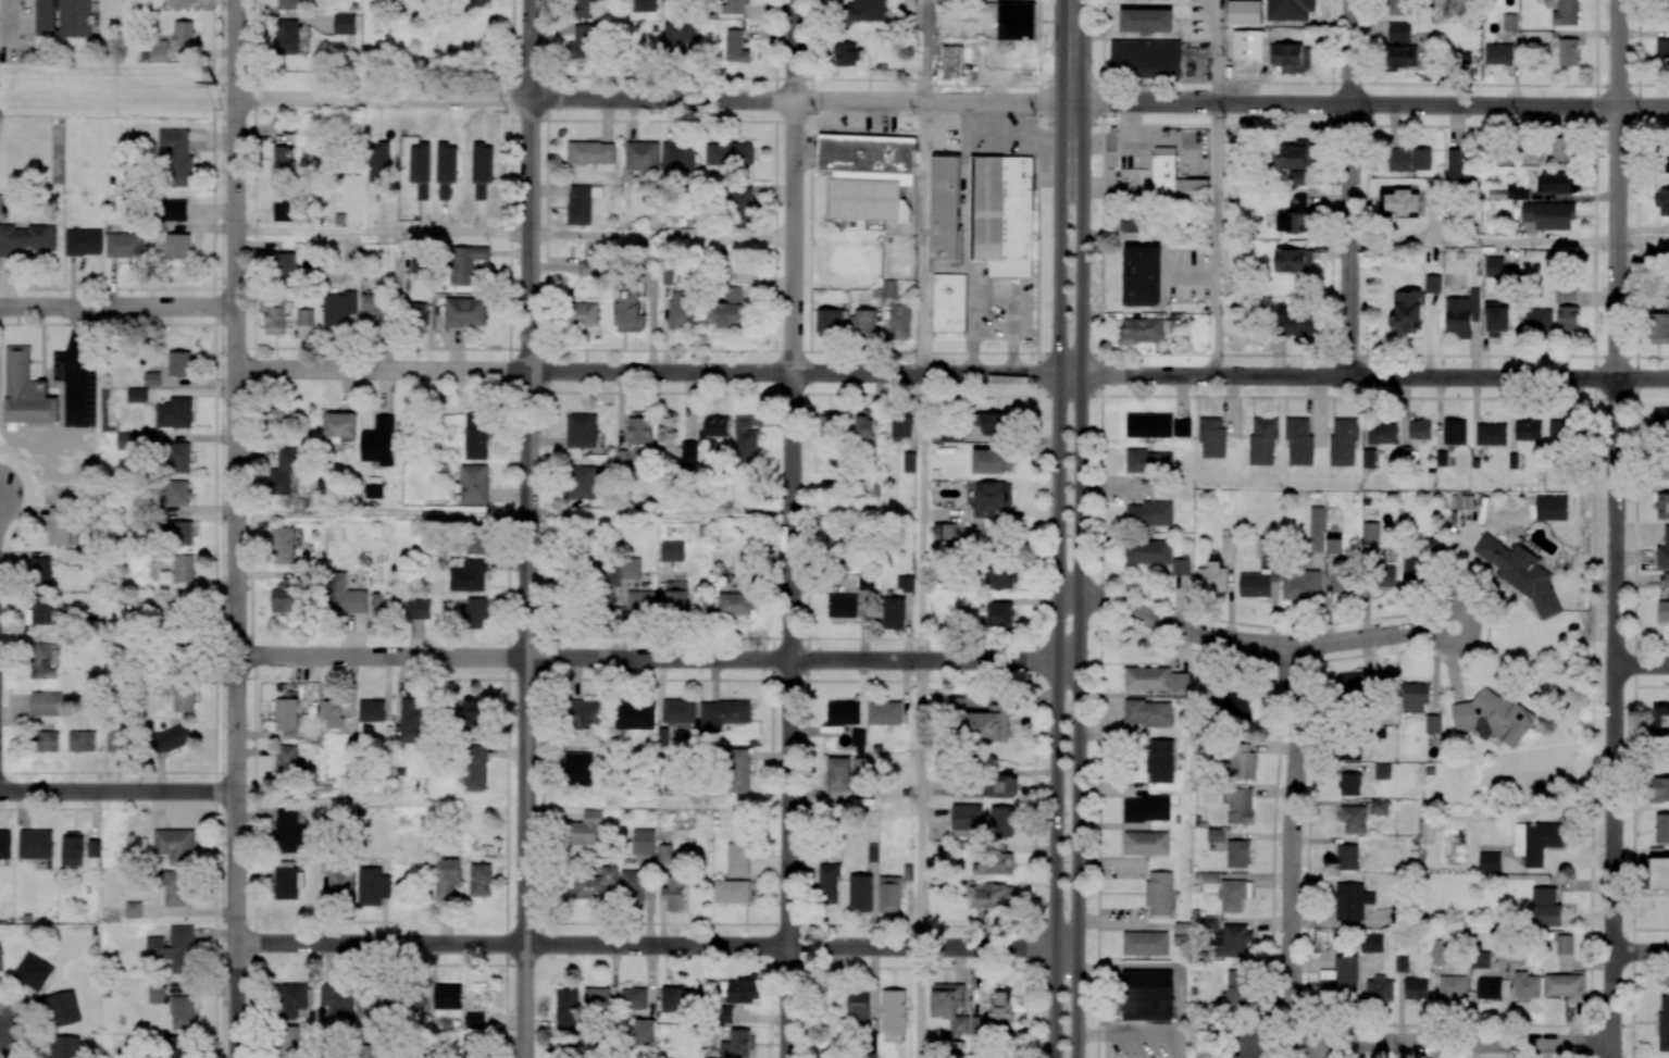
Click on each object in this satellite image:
building: (478, 2)
building: (289, 4)
building: (1666, 4)
building: (644, 5)
building: (735, 7)
building: (1399, 7)
building: (585, 9)
building: (865, 11)
building: (1244, 12)
building: (1566, 13)
building: (46, 16)
building: (76, 17)
building: (1146, 20)
building: (1510, 22)
building: (344, 23)
road: (10, 32)
building: (1399, 32)
building: (183, 33)
building: (680, 34)
building: (287, 36)
building: (583, 41)
building: (1248, 45)
building: (735, 46)
building: (998, 47)
building: (159, 50)
road: (1073, 51)
road: (1218, 51)
building: (1661, 51)
building: (1568, 52)
building: (846, 53)
building: (1498, 54)
building: (1400, 57)
building: (1145, 58)
building: (1293, 59)
power tower: (214, 83)
road: (1354, 83)
road: (653, 99)
road: (1370, 104)
road: (1354, 125)
building: (1561, 149)
building: (730, 153)
building: (593, 154)
building: (678, 154)
building: (177, 155)
building: (642, 155)
building: (1296, 155)
building: (287, 158)
building: (1409, 159)
building: (1665, 161)
building: (421, 167)
building: (1460, 167)
building: (483, 169)
building: (447, 170)
building: (869, 174)
road: (1332, 176)
building: (1174, 177)
building: (1297, 177)
building: (1557, 183)
road: (795, 186)
road: (1352, 187)
road: (1619, 188)
building: (1507, 194)
building: (1662, 200)
building: (1297, 201)
building: (1403, 202)
building: (1, 204)
building: (580, 204)
building: (740, 207)
building: (284, 208)
building: (945, 208)
building: (174, 210)
building: (1548, 214)
building: (1000, 222)
building: (1290, 222)
building: (1132, 223)
road: (515, 234)
building: (24, 238)
road: (1217, 239)
road: (1366, 239)
building: (84, 241)
road: (1484, 241)
road: (1643, 244)
building: (124, 245)
building: (177, 246)
building: (1294, 260)
building: (465, 263)
building: (285, 265)
building: (419, 265)
building: (1494, 266)
building: (588, 269)
building: (1143, 275)
building: (1432, 283)
building: (949, 302)
road: (117, 308)
building: (339, 308)
building: (372, 308)
building: (728, 308)
building: (628, 310)
building: (681, 310)
building: (465, 312)
building: (897, 312)
building: (1407, 312)
building: (584, 313)
building: (1462, 313)
building: (416, 314)
building: (274, 315)
building: (304, 316)
building: (1497, 319)
building: (1567, 319)
building: (1536, 320)
building: (829, 321)
building: (864, 322)
building: (1295, 323)
building: (1659, 327)
building: (1142, 331)
road: (1353, 353)
building: (178, 363)
road: (78, 365)
road: (659, 371)
road: (1349, 376)
road: (1643, 378)
building: (26, 390)
road: (1353, 397)
building: (174, 412)
building: (1660, 419)
building: (339, 424)
building: (715, 425)
building: (993, 425)
building: (1148, 425)
building: (1181, 425)
building: (901, 426)
building: (642, 427)
building: (830, 427)
building: (1420, 428)
building: (581, 430)
building: (865, 430)
building: (1528, 430)
building: (1382, 432)
building: (1455, 432)
building: (1559, 433)
building: (1491, 434)
building: (950, 435)
building: (476, 436)
building: (1212, 437)
building: (134, 440)
building: (746, 440)
building: (1262, 440)
building: (1344, 440)
building: (378, 441)
building: (1299, 441)
building: (689, 448)
building: (178, 457)
building: (1370, 458)
building: (993, 460)
building: (1148, 461)
building: (1662, 469)
building: (283, 471)
building: (581, 482)
building: (473, 484)
building: (373, 487)
building: (178, 493)
building: (994, 498)
building: (1661, 505)
building: (1149, 513)
road: (383, 514)
road: (661, 516)
building: (60, 526)
road: (236, 528)
road: (528, 528)
road: (923, 528)
road: (1035, 528)
road: (1100, 528)
building: (1317, 528)
road: (1592, 528)
road: (1635, 528)
building: (1371, 531)
building: (178, 533)
building: (943, 536)
building: (476, 539)
building: (1333, 542)
building: (283, 545)
building: (1432, 545)
building: (1664, 549)
building: (672, 550)
building: (1147, 551)
building: (1566, 561)
building: (1181, 565)
building: (183, 568)
building: (631, 568)
building: (1411, 569)
building: (40, 571)
building: (1520, 573)
building: (1383, 575)
building: (469, 576)
building: (613, 576)
building: (1004, 577)
building: (1211, 577)
road: (1059, 580)
road: (1081, 580)
building: (1666, 580)
building: (865, 582)
building: (1345, 582)
building: (905, 583)
building: (1254, 584)
building: (1300, 585)
building: (346, 595)
building: (676, 596)
building: (283, 597)
building: (642, 602)
building: (734, 603)
building: (842, 606)
building: (419, 608)
building: (1662, 610)
building: (475, 611)
building: (893, 612)
building: (42, 613)
building: (1000, 614)
road: (1172, 625)
road: (1487, 626)
road: (1372, 636)
road: (1652, 643)
road: (658, 658)
building: (40, 661)
road: (1642, 665)
building: (1146, 679)
building: (1362, 682)
building: (1180, 684)
road: (1652, 686)
building: (183, 697)
building: (1415, 697)
building: (46, 704)
building: (956, 704)
building: (1234, 704)
building: (477, 706)
building: (371, 710)
building: (678, 710)
building: (844, 712)
building: (884, 712)
building: (1147, 712)
building: (332, 713)
building: (586, 713)
building: (723, 713)
building: (635, 714)
road: (790, 714)
building: (287, 717)
building: (1493, 717)
road: (1614, 718)
building: (411, 720)
building: (1661, 720)
building: (1432, 723)
building: (987, 724)
building: (858, 737)
building: (171, 738)
building: (45, 740)
building: (82, 740)
building: (119, 742)
building: (1350, 752)
building: (1159, 760)
building: (1243, 762)
building: (288, 763)
building: (862, 767)
building: (474, 768)
road: (1549, 768)
building: (578, 769)
building: (738, 770)
building: (1382, 771)
building: (837, 773)
building: (1350, 784)
building: (1004, 787)
building: (1659, 789)
road: (117, 791)
building: (1240, 805)
building: (1379, 806)
building: (1147, 808)
building: (967, 817)
building: (1353, 819)
building: (1002, 821)
building: (1661, 827)
building: (585, 829)
building: (1428, 829)
building: (288, 831)
building: (1216, 835)
building: (1536, 841)
building: (644, 842)
building: (1145, 843)
building: (5, 844)
building: (36, 844)
building: (175, 845)
building: (94, 847)
building: (72, 848)
building: (664, 852)
building: (1237, 854)
road: (1292, 854)
building: (1347, 857)
building: (737, 859)
road: (1307, 860)
building: (1490, 862)
building: (995, 863)
road: (1271, 863)
building: (1659, 873)
building: (448, 876)
building: (481, 880)
building: (286, 883)
building: (340, 883)
building: (829, 884)
building: (597, 885)
building: (372, 886)
building: (633, 887)
building: (175, 888)
building: (732, 892)
building: (860, 892)
building: (1159, 892)
building: (889, 894)
building: (992, 895)
building: (1232, 895)
building: (1352, 900)
building: (1545, 907)
building: (134, 909)
building: (1211, 922)
road: (1651, 929)
building: (1236, 941)
building: (1372, 942)
building: (1145, 943)
building: (1565, 944)
road: (657, 945)
building: (174, 948)
building: (1440, 951)
road: (1641, 951)
building: (0, 958)
building: (1480, 959)
road: (1163, 967)
building: (33, 971)
road: (1651, 971)
building: (1340, 978)
building: (1525, 984)
building: (1565, 985)
building: (1452, 987)
building: (1489, 987)
building: (1379, 988)
building: (1416, 988)
building: (1240, 989)
building: (742, 991)
building: (155, 994)
building: (1145, 995)
building: (291, 998)
building: (597, 998)
building: (633, 998)
building: (677, 999)
building: (448, 1000)
building: (338, 1003)
building: (859, 1005)
building: (949, 1005)
building: (1001, 1007)
building: (63, 1008)
building: (370, 1008)
building: (566, 1009)
building: (893, 1011)
building: (182, 1012)
building: (725, 1013)
building: (474, 1020)
building: (1664, 1022)
road: (1474, 1024)
building: (644, 1032)
road: (1142, 1033)
building: (287, 1042)
parking lot: (1146, 1042)
road: (1462, 1043)
building: (738, 1044)
building: (1253, 1045)
building: (65, 1046)
building: (472, 1046)
building: (178, 1047)
building: (869, 1047)
building: (365, 1050)

